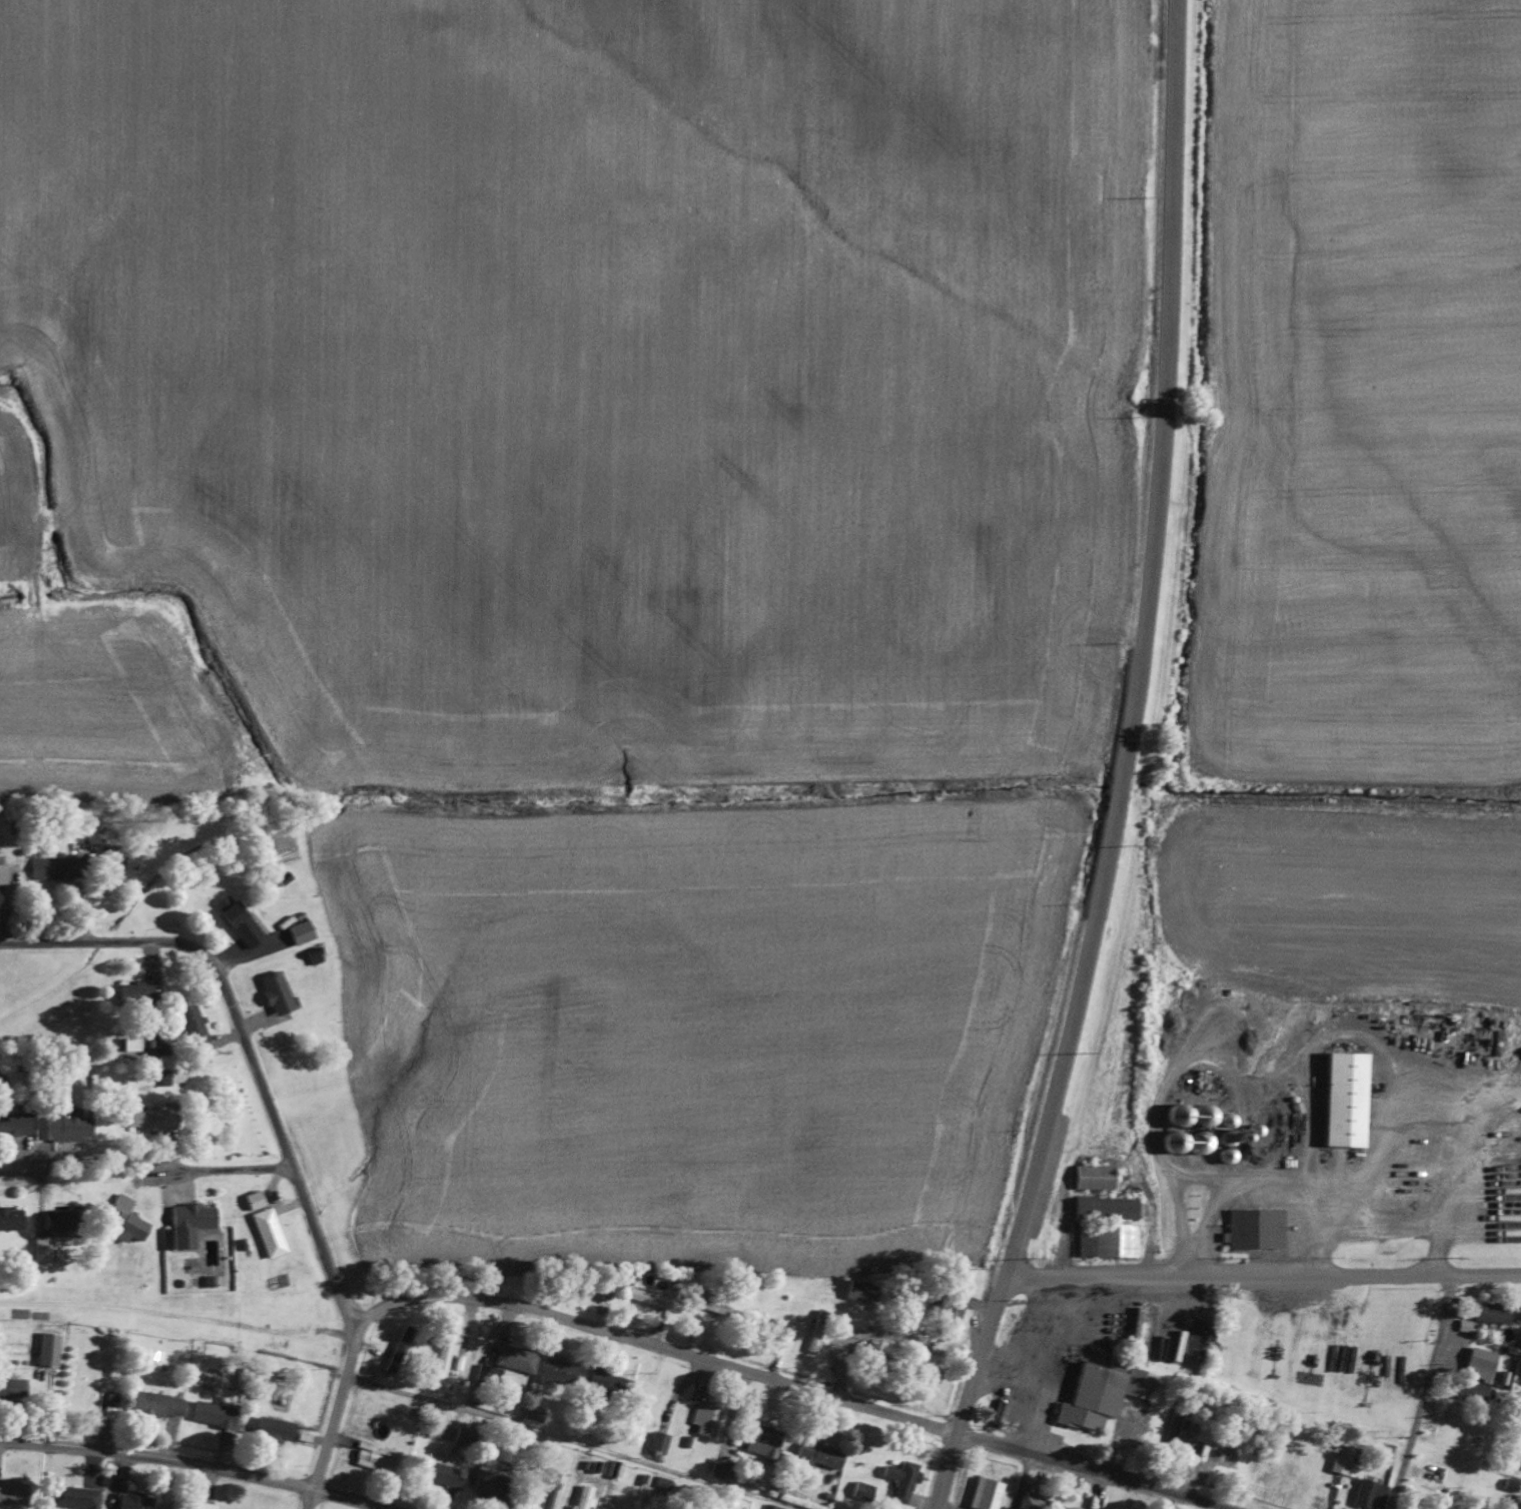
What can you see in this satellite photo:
road: (1139, 645)
building: (60, 869)
building: (4, 875)
building: (242, 923)
building: (302, 933)
building: (278, 994)
building: (135, 995)
building: (194, 1026)
road: (244, 1042)
building: (1343, 1100)
building: (156, 1118)
building: (16, 1126)
building: (43, 1127)
building: (1174, 1142)
road: (229, 1168)
road: (7, 1169)
building: (1097, 1178)
building: (1108, 1208)
building: (12, 1219)
building: (125, 1219)
building: (64, 1220)
building: (192, 1224)
building: (1255, 1230)
building: (270, 1233)
building: (1109, 1241)
building: (44, 1250)
road: (1262, 1273)
building: (862, 1293)
building: (648, 1300)
building: (715, 1308)
building: (951, 1310)
building: (1489, 1314)
road: (177, 1320)
building: (817, 1332)
road: (655, 1344)
building: (50, 1350)
building: (516, 1359)
building: (1477, 1365)
building: (399, 1368)
building: (558, 1372)
building: (601, 1379)
building: (13, 1389)
road: (967, 1392)
road: (1424, 1393)
building: (1105, 1395)
building: (158, 1406)
building: (110, 1408)
building: (215, 1415)
building: (534, 1415)
road: (336, 1418)
building: (706, 1421)
building: (276, 1430)
building: (1208, 1436)
building: (459, 1437)
road: (565, 1443)
building: (763, 1443)
building: (658, 1444)
building: (820, 1456)
building: (373, 1461)
building: (1338, 1461)
road: (199, 1462)
building: (616, 1470)
road: (1093, 1470)
building: (722, 1471)
building: (443, 1472)
building: (903, 1482)
building: (503, 1488)
building: (860, 1491)
building: (14, 1493)
building: (991, 1495)
building: (1365, 1496)
building: (80, 1498)
building: (585, 1498)
building: (134, 1501)
building: (1032, 1502)
building: (191, 1505)

